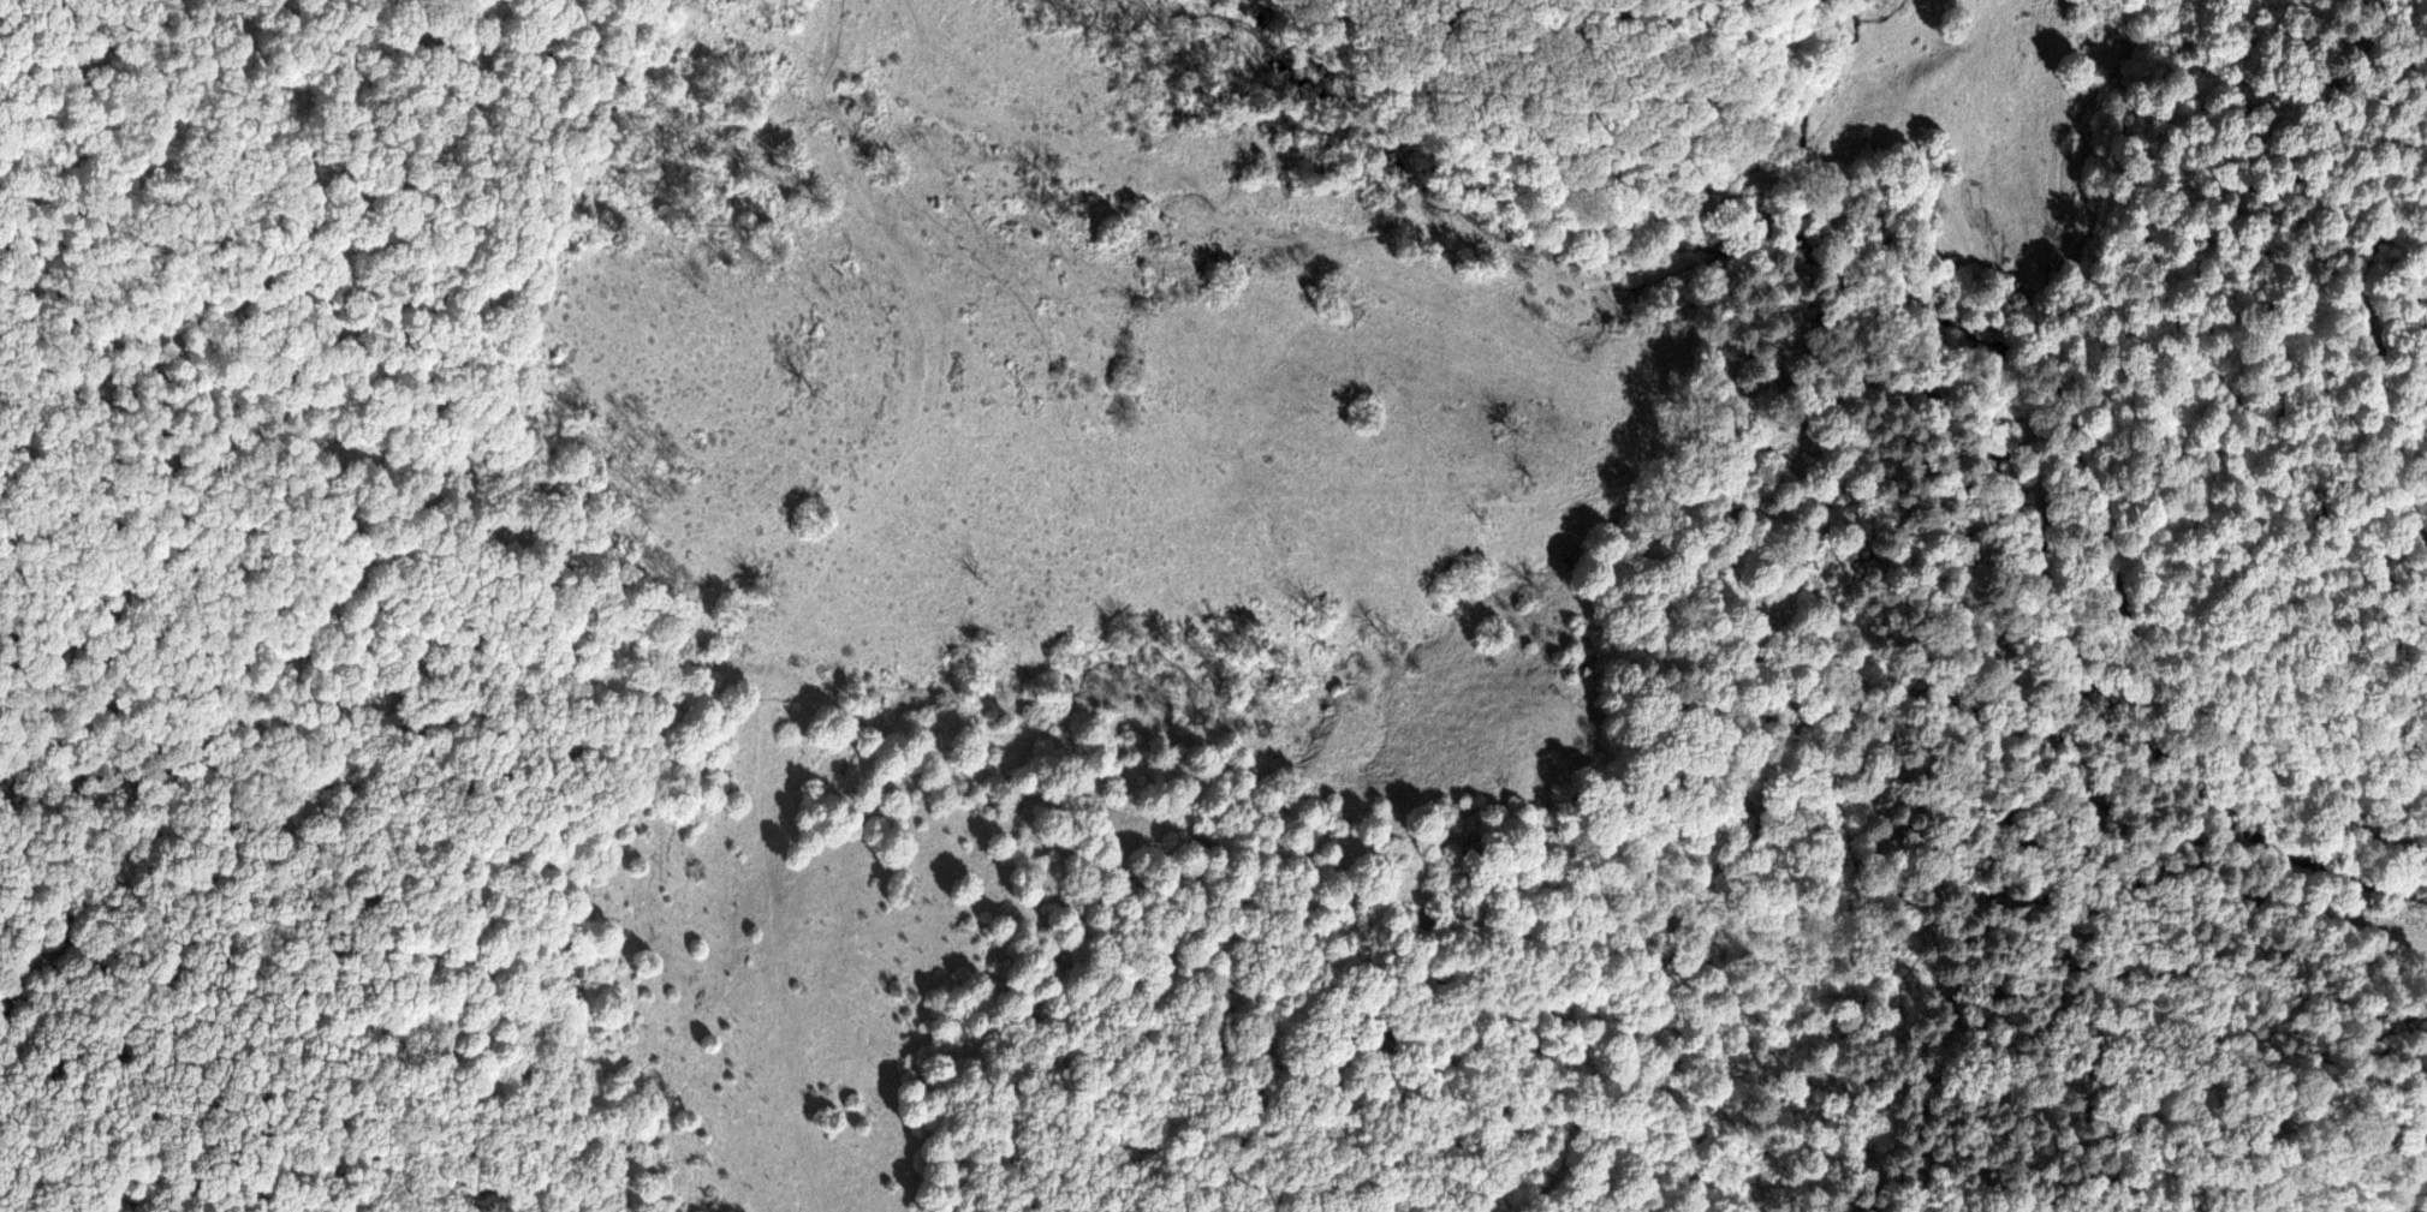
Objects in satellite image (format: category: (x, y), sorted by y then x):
road: (2093, 479)

